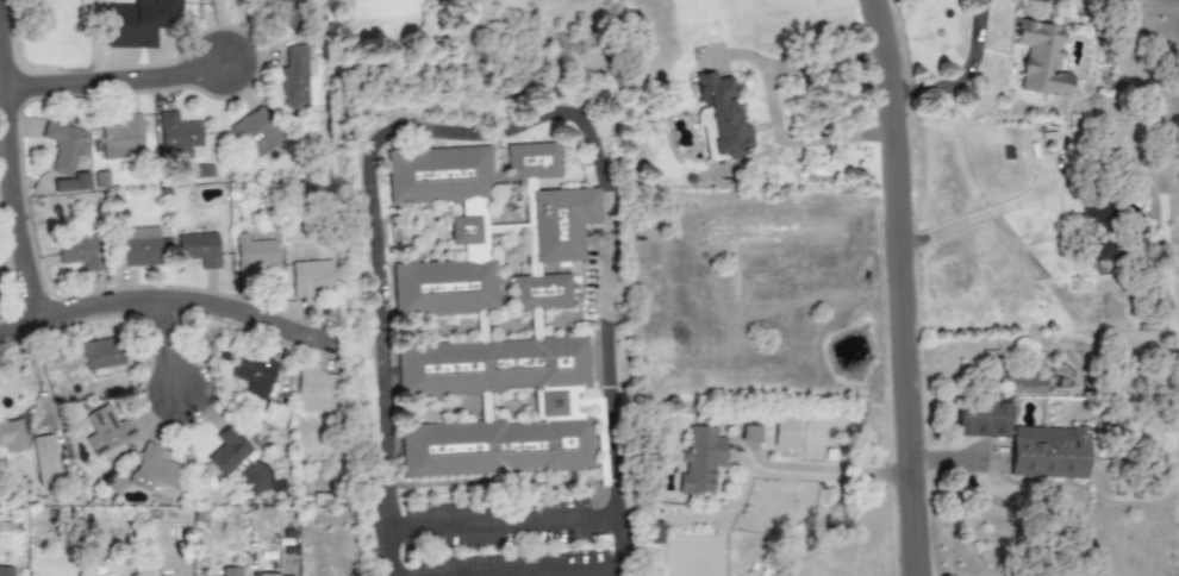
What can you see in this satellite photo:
building: (139, 23)
building: (1041, 60)
road: (114, 73)
road: (959, 75)
building: (293, 77)
road: (772, 106)
building: (722, 115)
road: (486, 131)
building: (255, 133)
building: (177, 136)
building: (121, 139)
building: (63, 146)
building: (532, 162)
road: (11, 167)
building: (71, 183)
road: (969, 218)
building: (561, 223)
building: (1099, 236)
building: (139, 246)
building: (198, 250)
building: (80, 252)
building: (252, 255)
building: (310, 276)
road: (899, 287)
road: (170, 295)
road: (162, 342)
building: (101, 355)
building: (254, 374)
building: (1022, 384)
building: (314, 389)
building: (981, 418)
building: (105, 430)
building: (785, 432)
building: (749, 434)
building: (11, 437)
building: (227, 450)
building: (1048, 452)
building: (700, 458)
building: (44, 459)
road: (826, 468)
road: (947, 468)
building: (152, 469)
road: (509, 524)
road: (1079, 549)
building: (233, 571)
building: (7, 572)
building: (274, 575)
road: (606, 575)
road: (622, 575)

